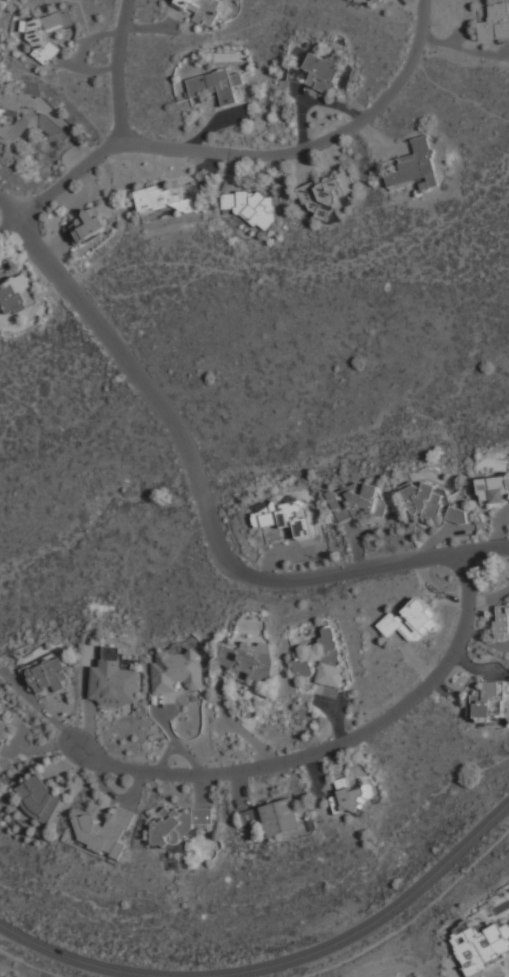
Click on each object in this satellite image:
building: (366, 1)
building: (202, 9)
building: (496, 23)
building: (48, 31)
road: (118, 70)
building: (317, 73)
building: (217, 84)
building: (19, 96)
building: (19, 128)
road: (236, 149)
building: (415, 165)
building: (188, 192)
building: (328, 194)
building: (160, 200)
road: (7, 205)
building: (251, 206)
building: (87, 225)
building: (17, 295)
building: (494, 490)
building: (426, 501)
building: (357, 502)
road: (203, 508)
building: (457, 515)
building: (287, 516)
building: (412, 620)
building: (502, 620)
building: (322, 659)
building: (249, 660)
building: (177, 671)
building: (47, 675)
building: (114, 679)
building: (490, 702)
building: (4, 732)
road: (327, 745)
building: (352, 797)
building: (41, 799)
building: (275, 816)
building: (179, 824)
building: (105, 831)
road: (413, 915)
building: (480, 944)
road: (276, 964)
road: (30, 965)

